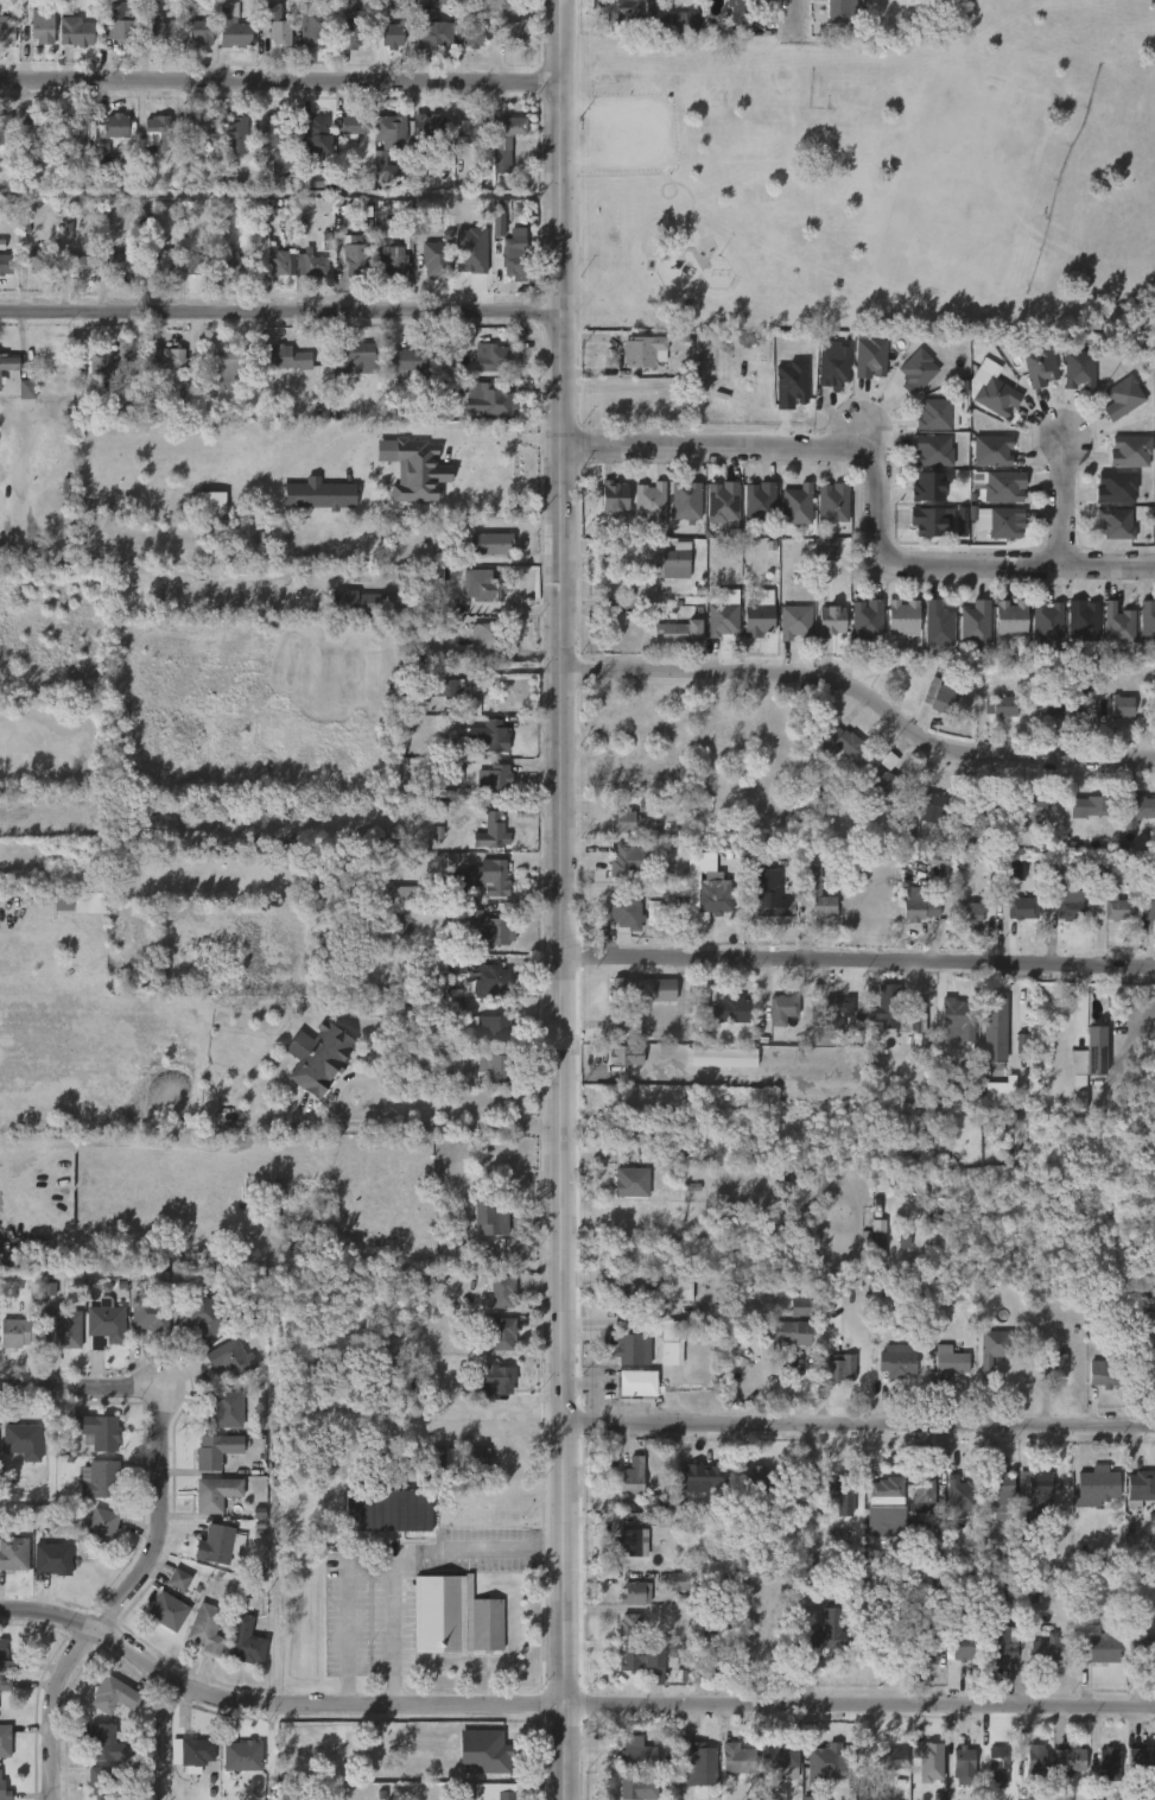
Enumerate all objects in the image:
building: (65, 7)
building: (621, 11)
building: (740, 11)
building: (837, 11)
building: (672, 19)
building: (277, 23)
building: (43, 24)
building: (120, 25)
building: (315, 25)
building: (233, 26)
building: (434, 26)
building: (202, 30)
building: (514, 30)
building: (6, 31)
building: (76, 32)
building: (154, 32)
building: (356, 34)
building: (393, 34)
building: (474, 34)
road: (280, 83)
building: (38, 122)
building: (513, 125)
building: (118, 126)
building: (354, 126)
building: (474, 126)
building: (433, 127)
building: (5, 128)
building: (389, 131)
building: (157, 133)
building: (80, 134)
building: (191, 135)
building: (237, 135)
building: (317, 137)
building: (277, 141)
building: (502, 154)
building: (383, 166)
park: (880, 175)
building: (63, 178)
building: (322, 180)
building: (497, 226)
building: (389, 249)
building: (471, 251)
building: (516, 256)
building: (355, 258)
building: (437, 259)
building: (5, 261)
building: (38, 261)
building: (118, 261)
building: (160, 261)
building: (279, 262)
building: (81, 264)
building: (236, 264)
building: (311, 264)
building: (195, 265)
road: (281, 313)
building: (646, 350)
building: (872, 355)
building: (288, 357)
building: (357, 357)
building: (169, 359)
building: (497, 359)
building: (8, 362)
building: (102, 362)
building: (411, 362)
building: (1040, 366)
building: (832, 367)
building: (227, 368)
building: (1079, 370)
building: (916, 372)
building: (0, 385)
building: (26, 389)
building: (994, 394)
building: (1123, 398)
building: (490, 399)
building: (1154, 404)
building: (939, 414)
road: (493, 438)
building: (929, 450)
building: (994, 450)
building: (1128, 450)
building: (414, 469)
road: (444, 473)
road: (875, 486)
building: (926, 486)
building: (1005, 486)
building: (1113, 486)
building: (319, 494)
building: (613, 495)
building: (649, 499)
building: (685, 500)
building: (721, 500)
building: (757, 501)
building: (832, 502)
road: (1059, 502)
road: (496, 505)
building: (794, 505)
building: (931, 521)
building: (1005, 522)
building: (1118, 522)
building: (490, 543)
building: (830, 552)
building: (671, 562)
building: (482, 585)
building: (380, 600)
building: (900, 616)
building: (1008, 616)
building: (721, 619)
building: (755, 619)
building: (865, 619)
building: (1081, 619)
building: (830, 620)
building: (1147, 620)
building: (794, 621)
building: (1045, 621)
building: (1117, 622)
building: (975, 623)
building: (937, 625)
building: (675, 632)
building: (488, 635)
building: (442, 689)
road: (864, 696)
building: (941, 697)
building: (1061, 705)
building: (1003, 706)
building: (1124, 706)
building: (490, 735)
building: (843, 741)
building: (451, 768)
building: (495, 781)
building: (887, 785)
building: (1092, 806)
building: (921, 811)
building: (1032, 811)
building: (1135, 811)
building: (977, 816)
building: (630, 823)
building: (493, 831)
building: (361, 842)
building: (623, 861)
building: (1013, 870)
building: (486, 877)
building: (401, 894)
building: (817, 894)
building: (768, 895)
road: (564, 899)
building: (711, 901)
building: (91, 902)
building: (920, 905)
building: (1072, 905)
building: (1024, 908)
building: (1115, 908)
building: (1148, 908)
building: (971, 912)
building: (622, 913)
building: (654, 913)
building: (490, 928)
building: (326, 939)
road: (859, 959)
building: (449, 965)
building: (494, 978)
building: (643, 989)
building: (783, 1007)
building: (734, 1008)
building: (888, 1008)
building: (957, 1016)
building: (833, 1018)
building: (995, 1029)
building: (490, 1031)
building: (1022, 1044)
building: (627, 1056)
building: (721, 1057)
building: (1090, 1057)
building: (325, 1060)
building: (494, 1066)
building: (1001, 1092)
building: (1080, 1099)
road: (429, 1126)
building: (628, 1136)
building: (1146, 1143)
building: (630, 1180)
building: (488, 1216)
building: (903, 1238)
building: (877, 1247)
building: (679, 1288)
building: (49, 1289)
building: (502, 1289)
building: (637, 1292)
building: (801, 1305)
building: (148, 1311)
building: (205, 1318)
building: (107, 1323)
building: (61, 1327)
building: (18, 1332)
building: (499, 1332)
building: (788, 1333)
building: (672, 1343)
building: (994, 1346)
building: (628, 1348)
building: (233, 1358)
building: (896, 1361)
building: (948, 1361)
building: (839, 1365)
building: (1053, 1367)
building: (1106, 1374)
building: (494, 1382)
building: (637, 1384)
road: (69, 1388)
building: (226, 1411)
road: (859, 1424)
road: (499, 1427)
building: (97, 1431)
building: (21, 1443)
building: (216, 1450)
building: (444, 1459)
building: (478, 1460)
building: (632, 1476)
building: (691, 1476)
building: (762, 1478)
building: (99, 1479)
building: (1141, 1485)
building: (1098, 1487)
building: (1001, 1489)
building: (963, 1492)
building: (217, 1494)
building: (839, 1494)
building: (921, 1494)
building: (1032, 1494)
building: (883, 1503)
building: (421, 1511)
building: (99, 1528)
building: (633, 1540)
building: (218, 1544)
building: (14, 1553)
building: (53, 1559)
road: (411, 1559)
building: (179, 1579)
building: (680, 1583)
road: (127, 1592)
building: (636, 1592)
road: (345, 1610)
building: (959, 1610)
building: (169, 1611)
building: (925, 1614)
building: (455, 1616)
building: (630, 1625)
building: (207, 1628)
building: (709, 1636)
building: (823, 1637)
building: (246, 1641)
building: (1096, 1644)
building: (926, 1646)
building: (963, 1646)
building: (1001, 1646)
building: (1140, 1647)
building: (1047, 1650)
building: (679, 1652)
building: (5, 1658)
building: (645, 1661)
building: (6, 1685)
building: (115, 1696)
road: (566, 1705)
building: (5, 1741)
building: (104, 1744)
building: (196, 1753)
building: (497, 1753)
building: (635, 1754)
building: (243, 1756)
building: (890, 1757)
building: (736, 1758)
building: (963, 1758)
building: (1074, 1758)
building: (780, 1760)
building: (1141, 1760)
building: (698, 1762)
building: (1035, 1762)
building: (924, 1763)
building: (1108, 1763)
building: (996, 1764)
building: (836, 1766)
building: (107, 1781)
building: (637, 1788)
building: (494, 1791)
building: (4, 1792)
building: (812, 1798)

